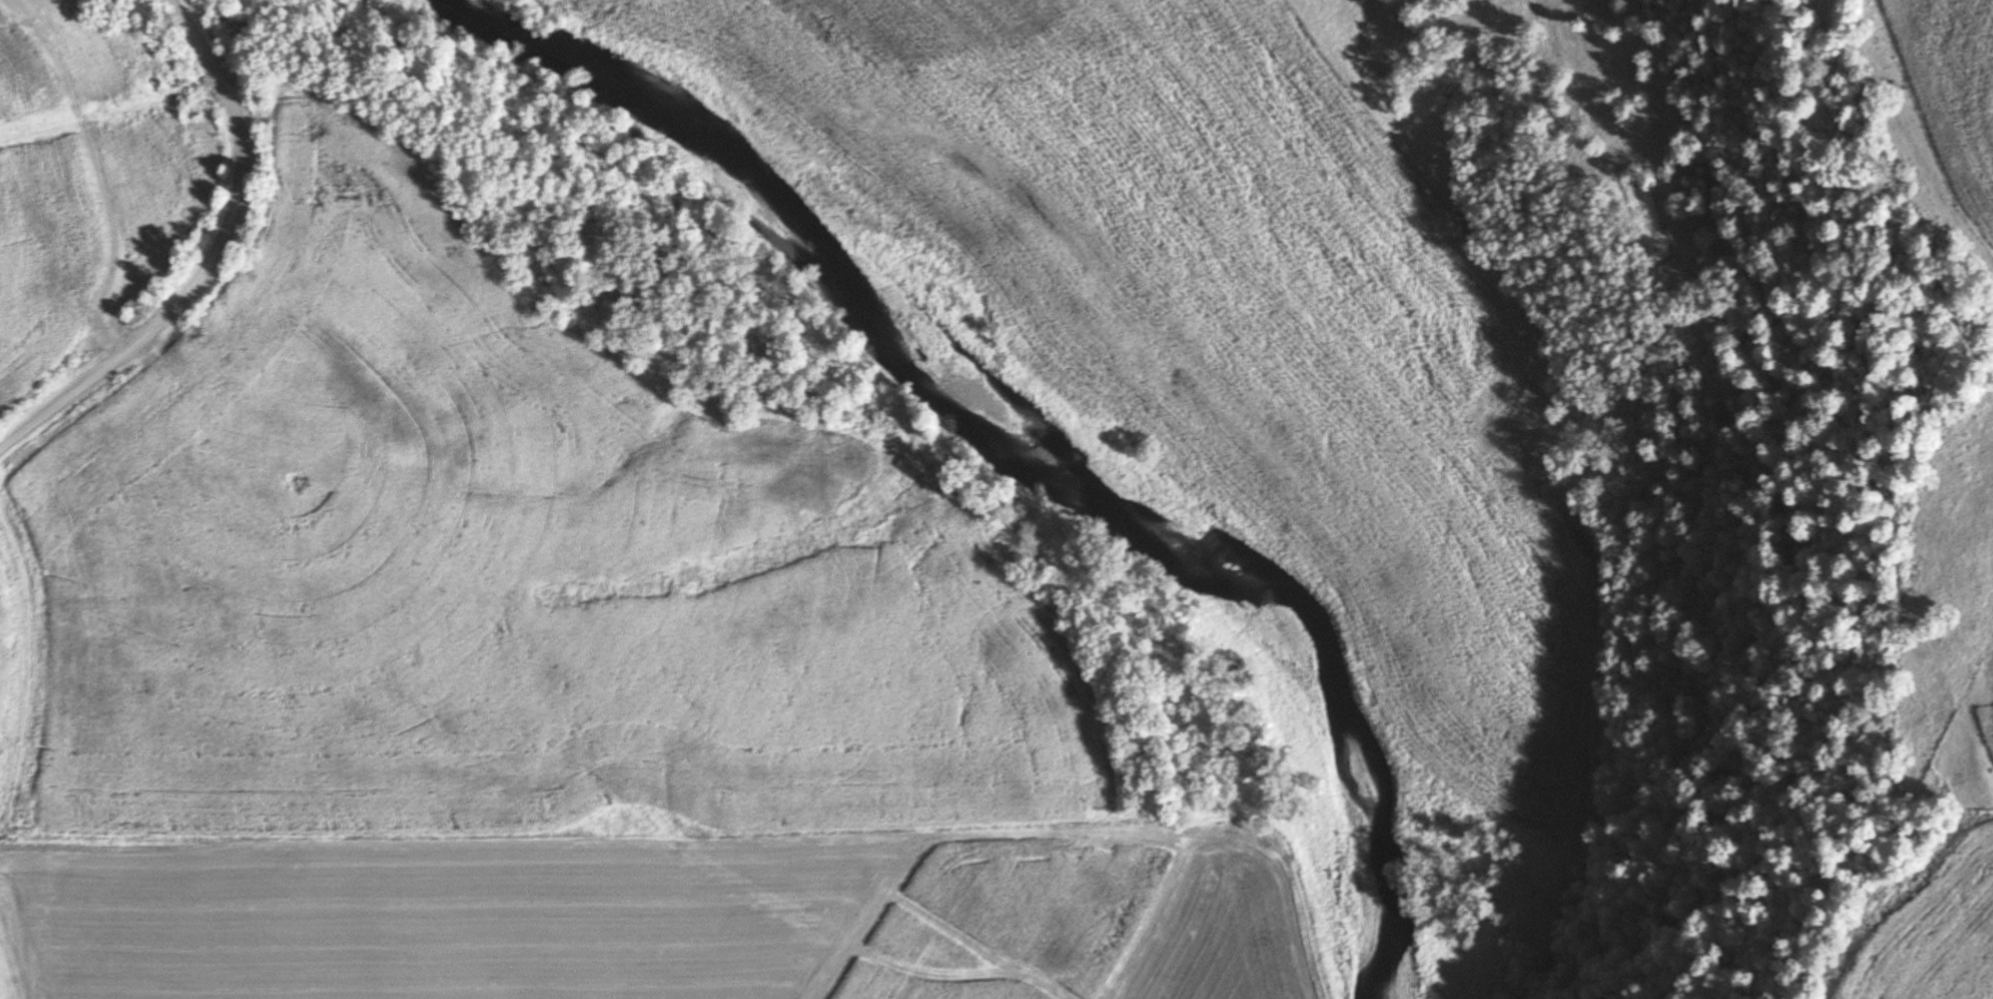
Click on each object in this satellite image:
road: (211, 258)
river: (1040, 433)

